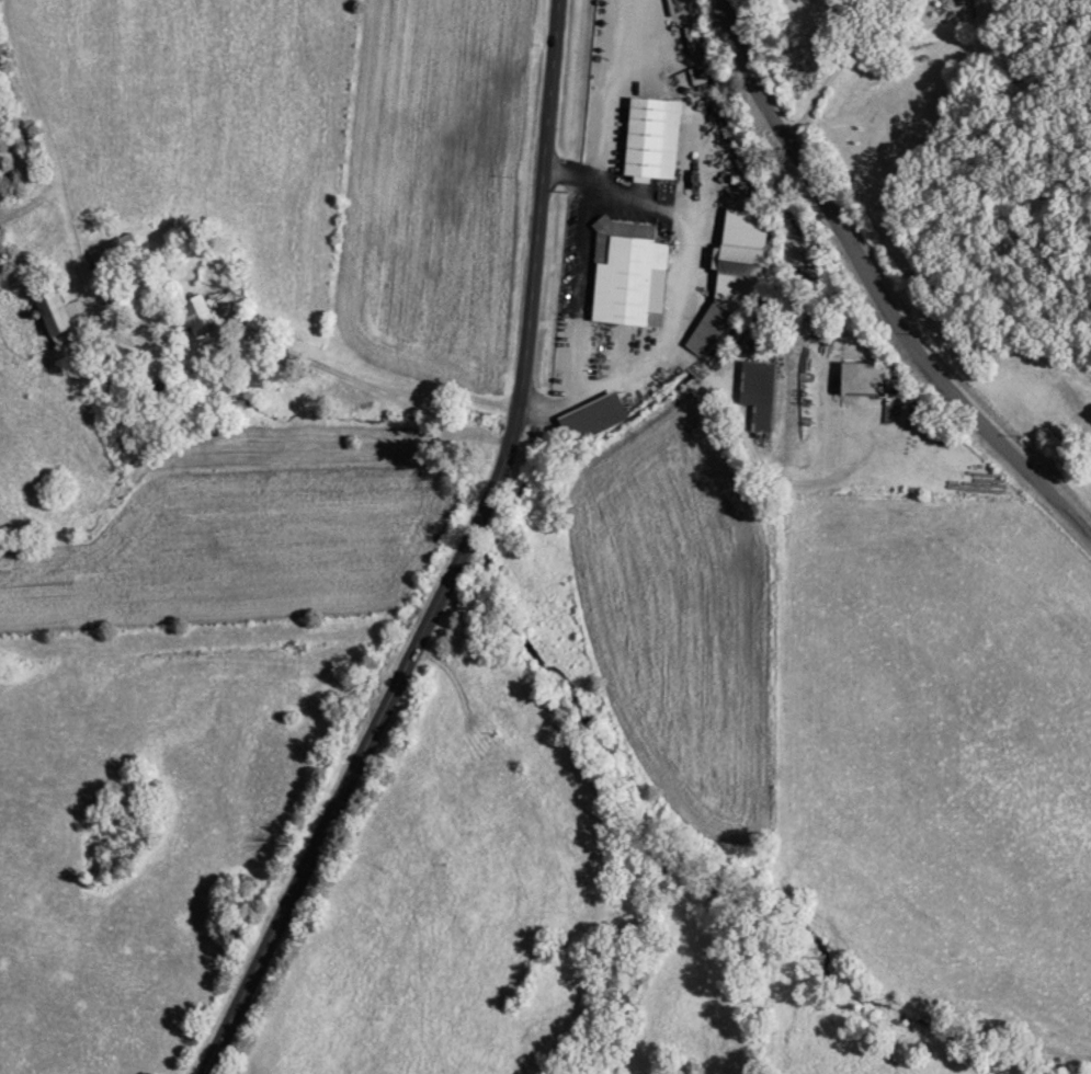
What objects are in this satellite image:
road: (857, 54)
building: (648, 140)
building: (111, 254)
building: (625, 275)
building: (729, 278)
road: (879, 285)
building: (189, 317)
building: (55, 319)
road: (258, 338)
building: (590, 421)
road: (464, 561)

